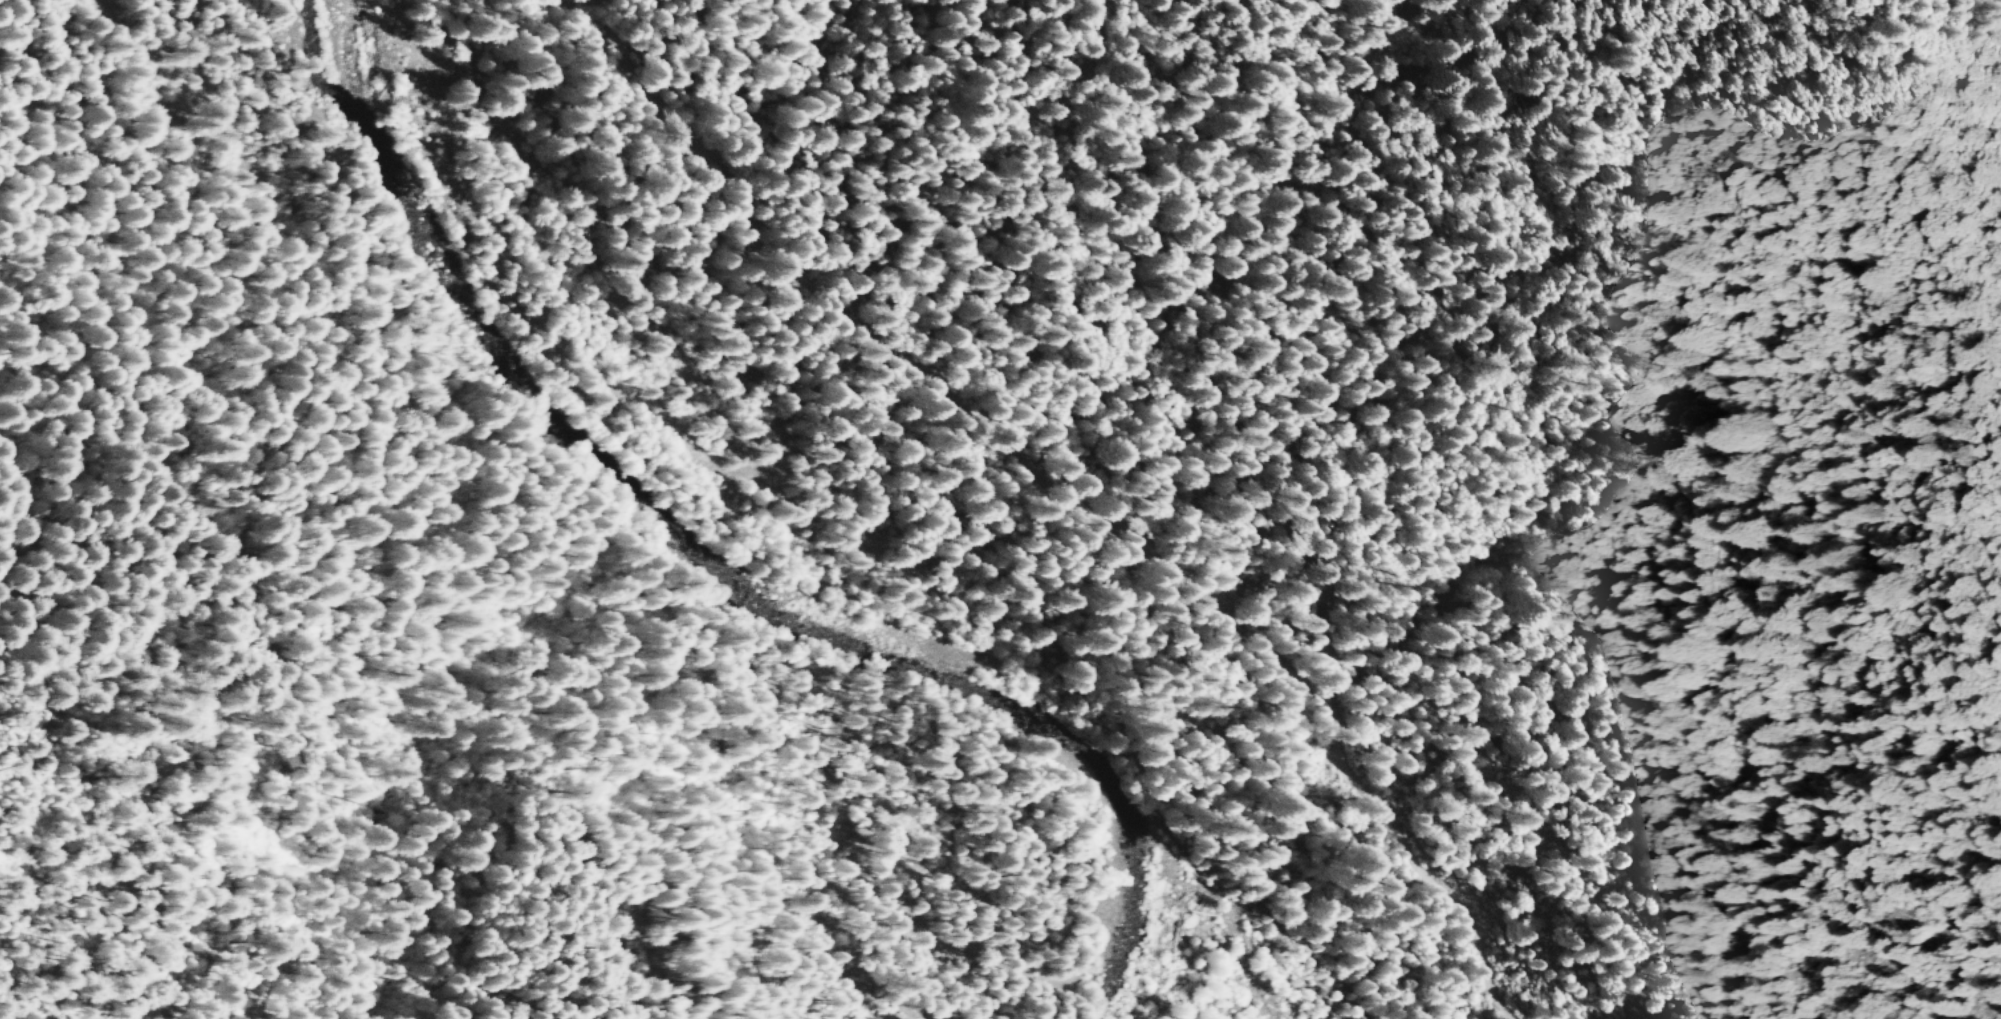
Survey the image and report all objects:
road: (1058, 486)
river: (710, 562)

